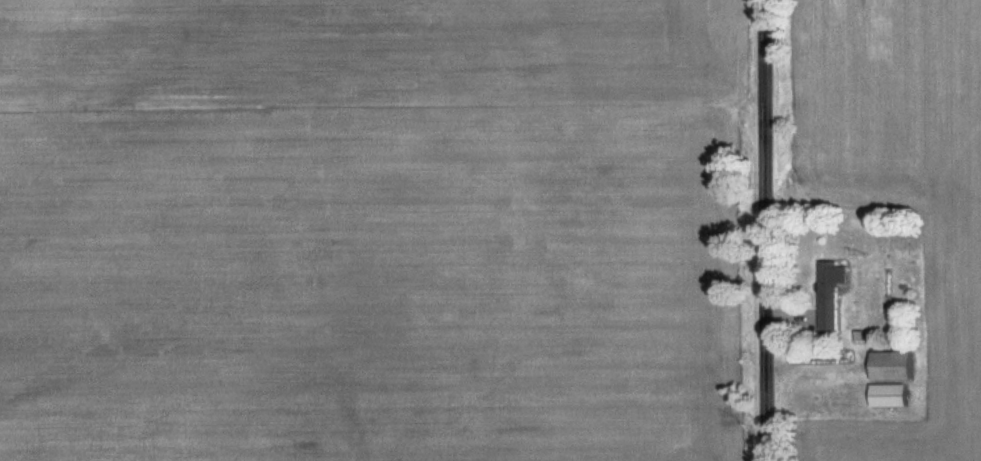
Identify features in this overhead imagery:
road: (766, 230)
building: (831, 295)
building: (893, 368)
building: (891, 398)

